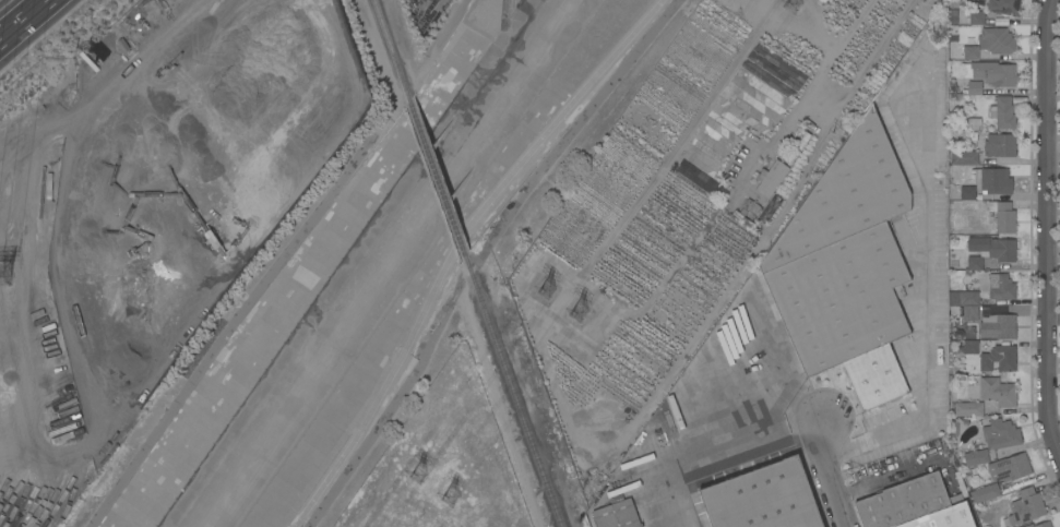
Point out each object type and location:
power tower: (794, 4)
building: (1004, 7)
road: (17, 16)
building: (976, 17)
building: (997, 40)
railway: (393, 49)
railway: (379, 50)
building: (972, 52)
road: (141, 56)
building: (995, 73)
building: (975, 87)
building: (1003, 112)
building: (974, 123)
building: (997, 144)
building: (795, 149)
building: (965, 158)
building: (771, 178)
railway: (438, 179)
building: (996, 180)
railway: (427, 184)
building: (967, 192)
building: (751, 206)
road: (782, 211)
building: (1003, 216)
road: (1045, 228)
road: (453, 247)
building: (993, 248)
river: (384, 263)
building: (975, 263)
building: (847, 267)
building: (1001, 286)
power tower: (545, 287)
road: (929, 294)
building: (969, 297)
road: (448, 302)
power tower: (575, 311)
building: (954, 311)
building: (1005, 323)
building: (969, 346)
building: (999, 358)
building: (998, 391)
railway: (513, 393)
railway: (503, 397)
building: (968, 408)
building: (1001, 433)
building: (976, 457)
building: (1010, 468)
road: (825, 471)
power tower: (418, 476)
building: (985, 492)
power tower: (450, 498)
building: (763, 498)
building: (904, 501)
building: (1026, 506)
building: (617, 515)
building: (944, 517)
building: (1043, 524)

